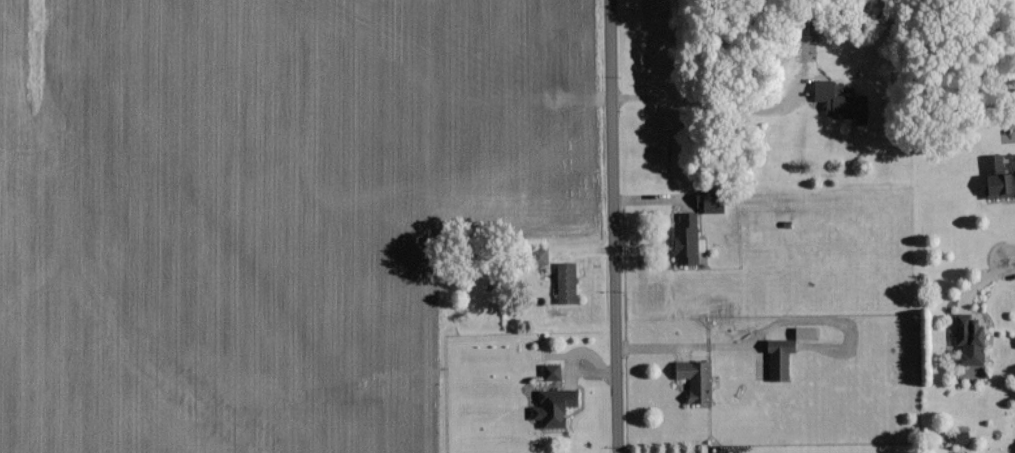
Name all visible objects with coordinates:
road: (709, 99)
building: (839, 101)
building: (997, 177)
building: (707, 199)
road: (615, 226)
building: (685, 239)
building: (537, 254)
road: (1010, 258)
building: (564, 281)
building: (802, 332)
building: (967, 338)
road: (689, 356)
building: (777, 358)
building: (549, 370)
building: (693, 378)
building: (551, 405)
building: (959, 436)

